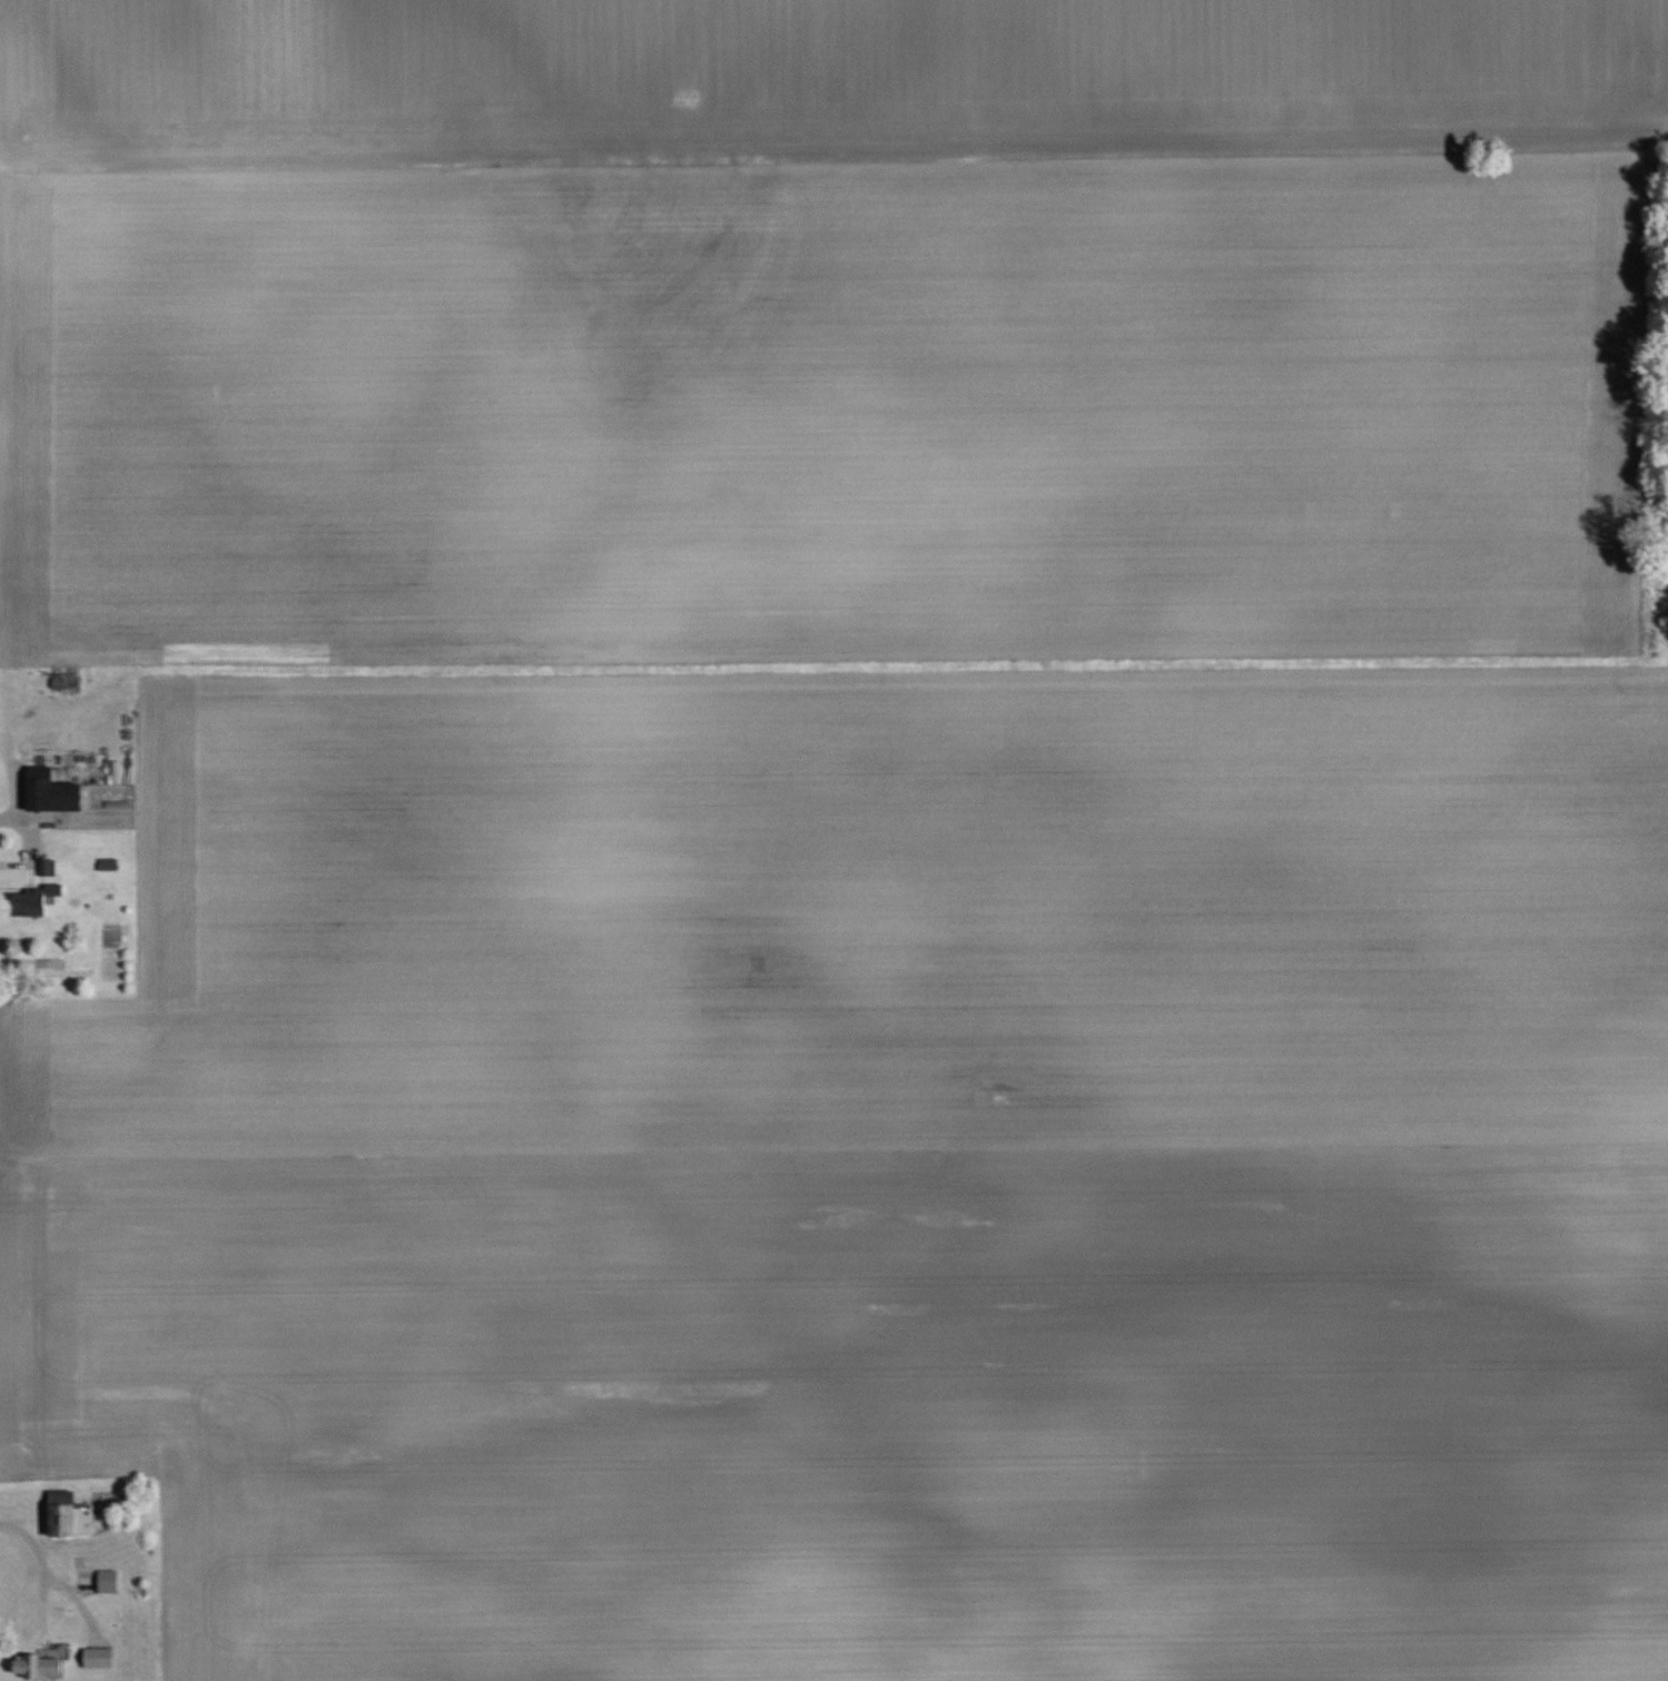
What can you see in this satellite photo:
building: (50, 792)
building: (46, 868)
building: (30, 902)
building: (70, 1519)
building: (106, 1580)
building: (97, 1657)
building: (37, 1665)

